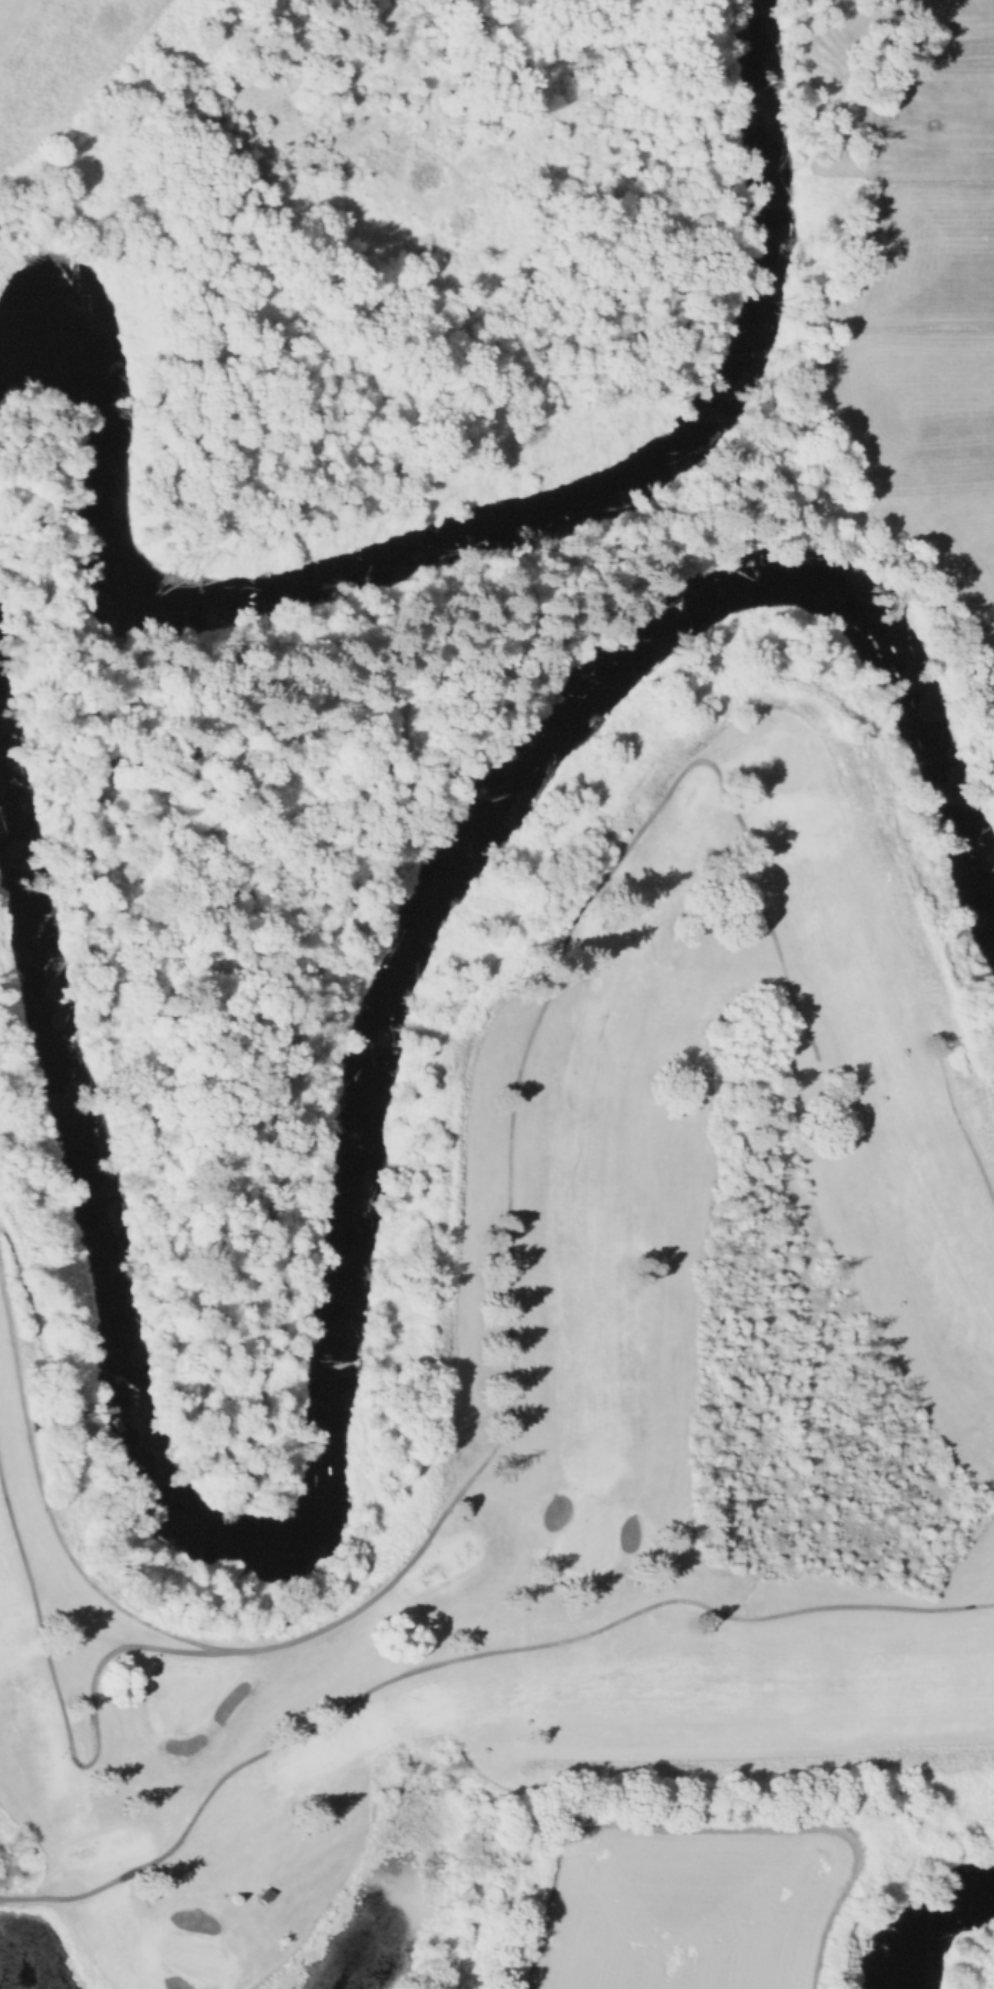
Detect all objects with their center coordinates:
park: (366, 218)
river: (486, 520)
park: (783, 764)
road: (961, 1128)
river: (358, 1231)
road: (508, 1311)
road: (58, 1418)
park: (584, 1436)
park: (586, 1535)
road: (463, 1656)
park: (181, 1697)
road: (69, 1727)
crop: (686, 1910)
river: (947, 1919)
park: (191, 1956)

